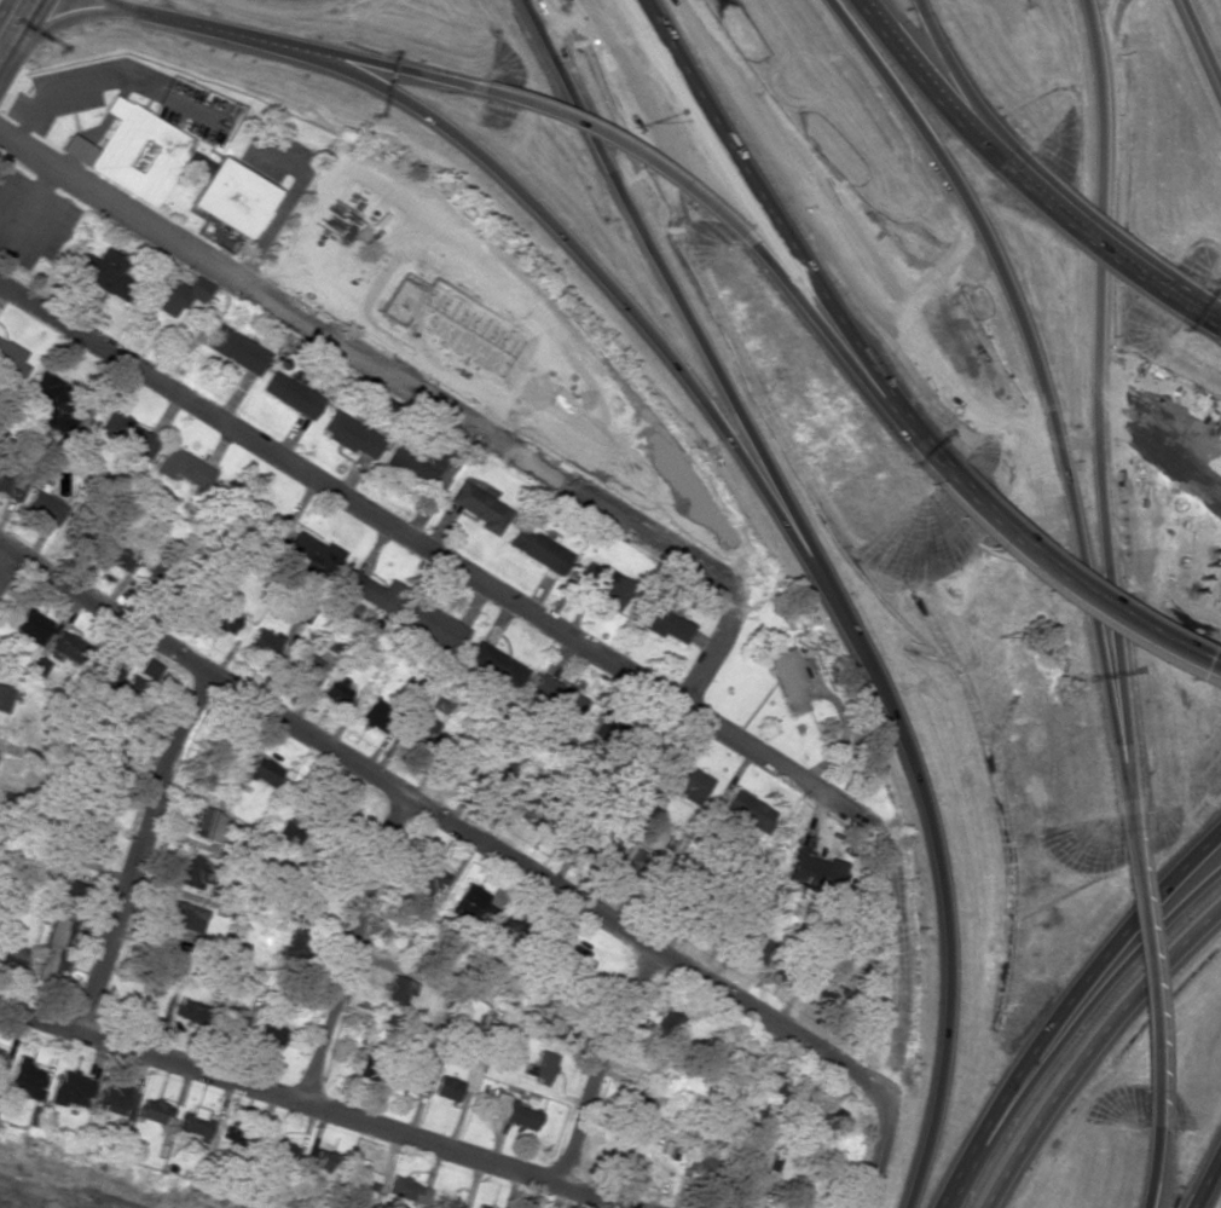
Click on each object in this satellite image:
road: (4, 7)
road: (75, 16)
road: (21, 36)
road: (1198, 47)
road: (400, 73)
road: (960, 85)
road: (930, 86)
road: (618, 145)
building: (133, 152)
building: (228, 197)
road: (530, 197)
road: (765, 208)
road: (1103, 226)
road: (1088, 242)
building: (103, 270)
road: (675, 283)
building: (175, 294)
road: (1205, 297)
road: (1200, 316)
road: (812, 323)
building: (235, 349)
building: (11, 360)
road: (1031, 365)
road: (1098, 383)
building: (57, 393)
road: (422, 393)
building: (290, 394)
building: (127, 435)
building: (351, 435)
road: (918, 443)
building: (419, 458)
building: (181, 468)
building: (11, 486)
building: (666, 492)
building: (44, 507)
building: (479, 507)
building: (79, 532)
building: (538, 549)
building: (111, 551)
building: (313, 554)
road: (6, 562)
building: (150, 580)
building: (601, 586)
road: (1071, 586)
building: (372, 591)
building: (224, 619)
building: (660, 623)
building: (30, 625)
building: (434, 626)
building: (261, 645)
building: (64, 646)
road: (606, 654)
building: (497, 664)
building: (37, 666)
building: (302, 666)
building: (150, 667)
building: (106, 674)
building: (787, 678)
building: (335, 689)
building: (138, 690)
building: (4, 698)
building: (555, 698)
building: (374, 715)
building: (424, 730)
building: (262, 770)
building: (681, 779)
road: (1121, 792)
building: (525, 810)
building: (746, 811)
building: (345, 814)
road: (446, 820)
building: (210, 826)
building: (288, 832)
building: (600, 842)
building: (85, 850)
road: (138, 850)
building: (193, 872)
building: (815, 873)
building: (427, 877)
road: (941, 879)
building: (65, 891)
building: (302, 896)
building: (470, 904)
building: (187, 917)
building: (296, 940)
building: (752, 943)
building: (54, 947)
road: (349, 947)
building: (11, 955)
road: (1145, 971)
building: (566, 988)
building: (398, 989)
road: (1064, 1005)
building: (202, 1015)
building: (669, 1019)
road: (1070, 1027)
building: (267, 1035)
road: (1092, 1048)
building: (1, 1058)
building: (368, 1067)
building: (542, 1067)
road: (603, 1067)
building: (24, 1079)
building: (769, 1087)
building: (446, 1088)
building: (70, 1089)
building: (116, 1099)
building: (642, 1100)
road: (311, 1104)
building: (154, 1110)
building: (511, 1112)
building: (821, 1115)
building: (196, 1126)
building: (283, 1151)
building: (325, 1161)
building: (700, 1166)
road: (1147, 1168)
road: (1204, 1178)
building: (361, 1180)
building: (751, 1183)
building: (406, 1189)
building: (481, 1206)

